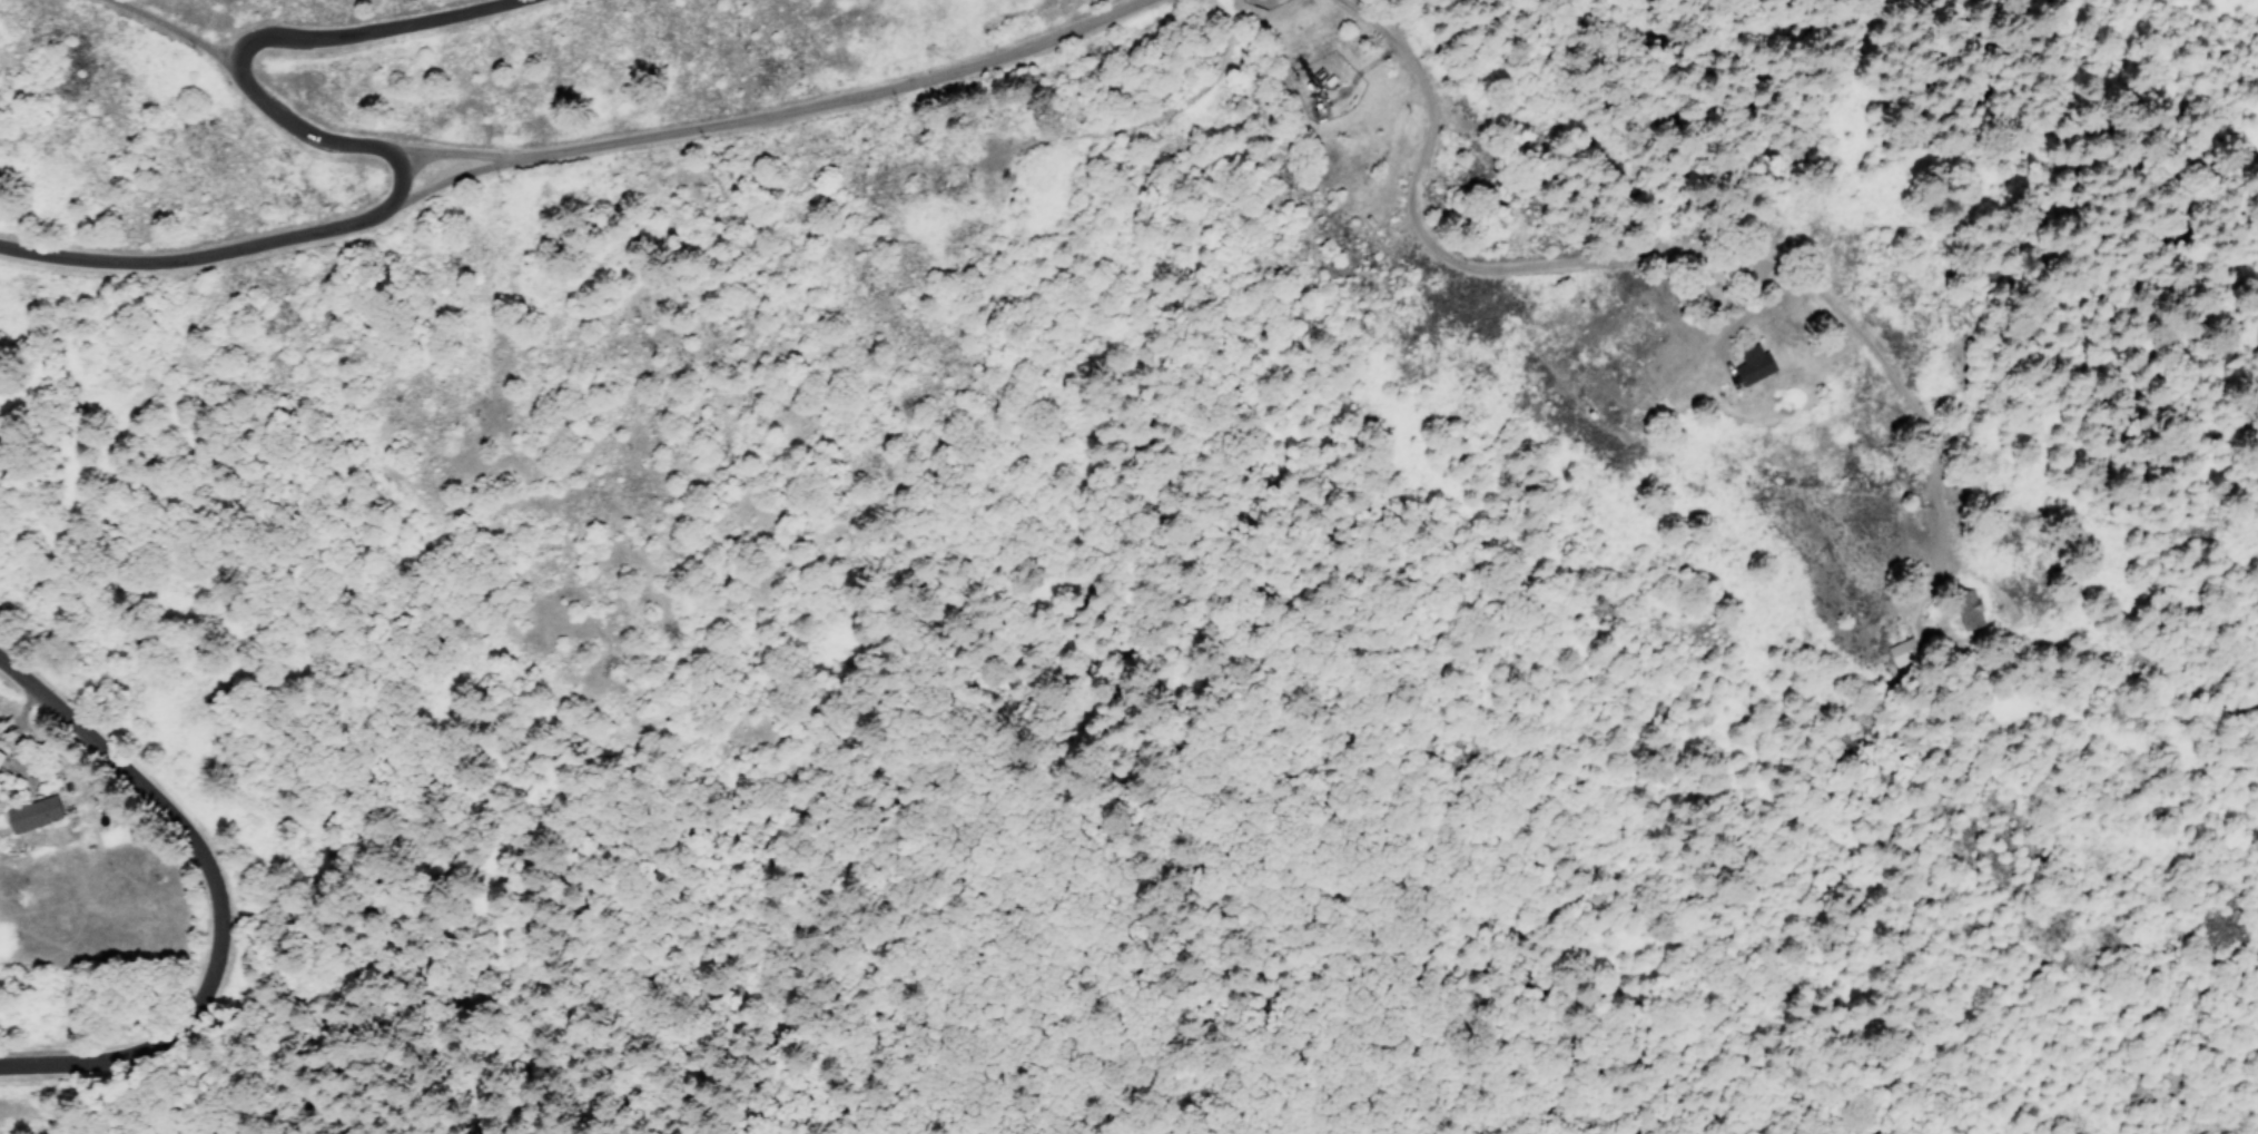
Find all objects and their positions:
road: (171, 30)
road: (239, 55)
road: (825, 107)
road: (247, 248)
building: (1753, 366)
building: (1971, 614)
building: (32, 816)
road: (214, 896)

